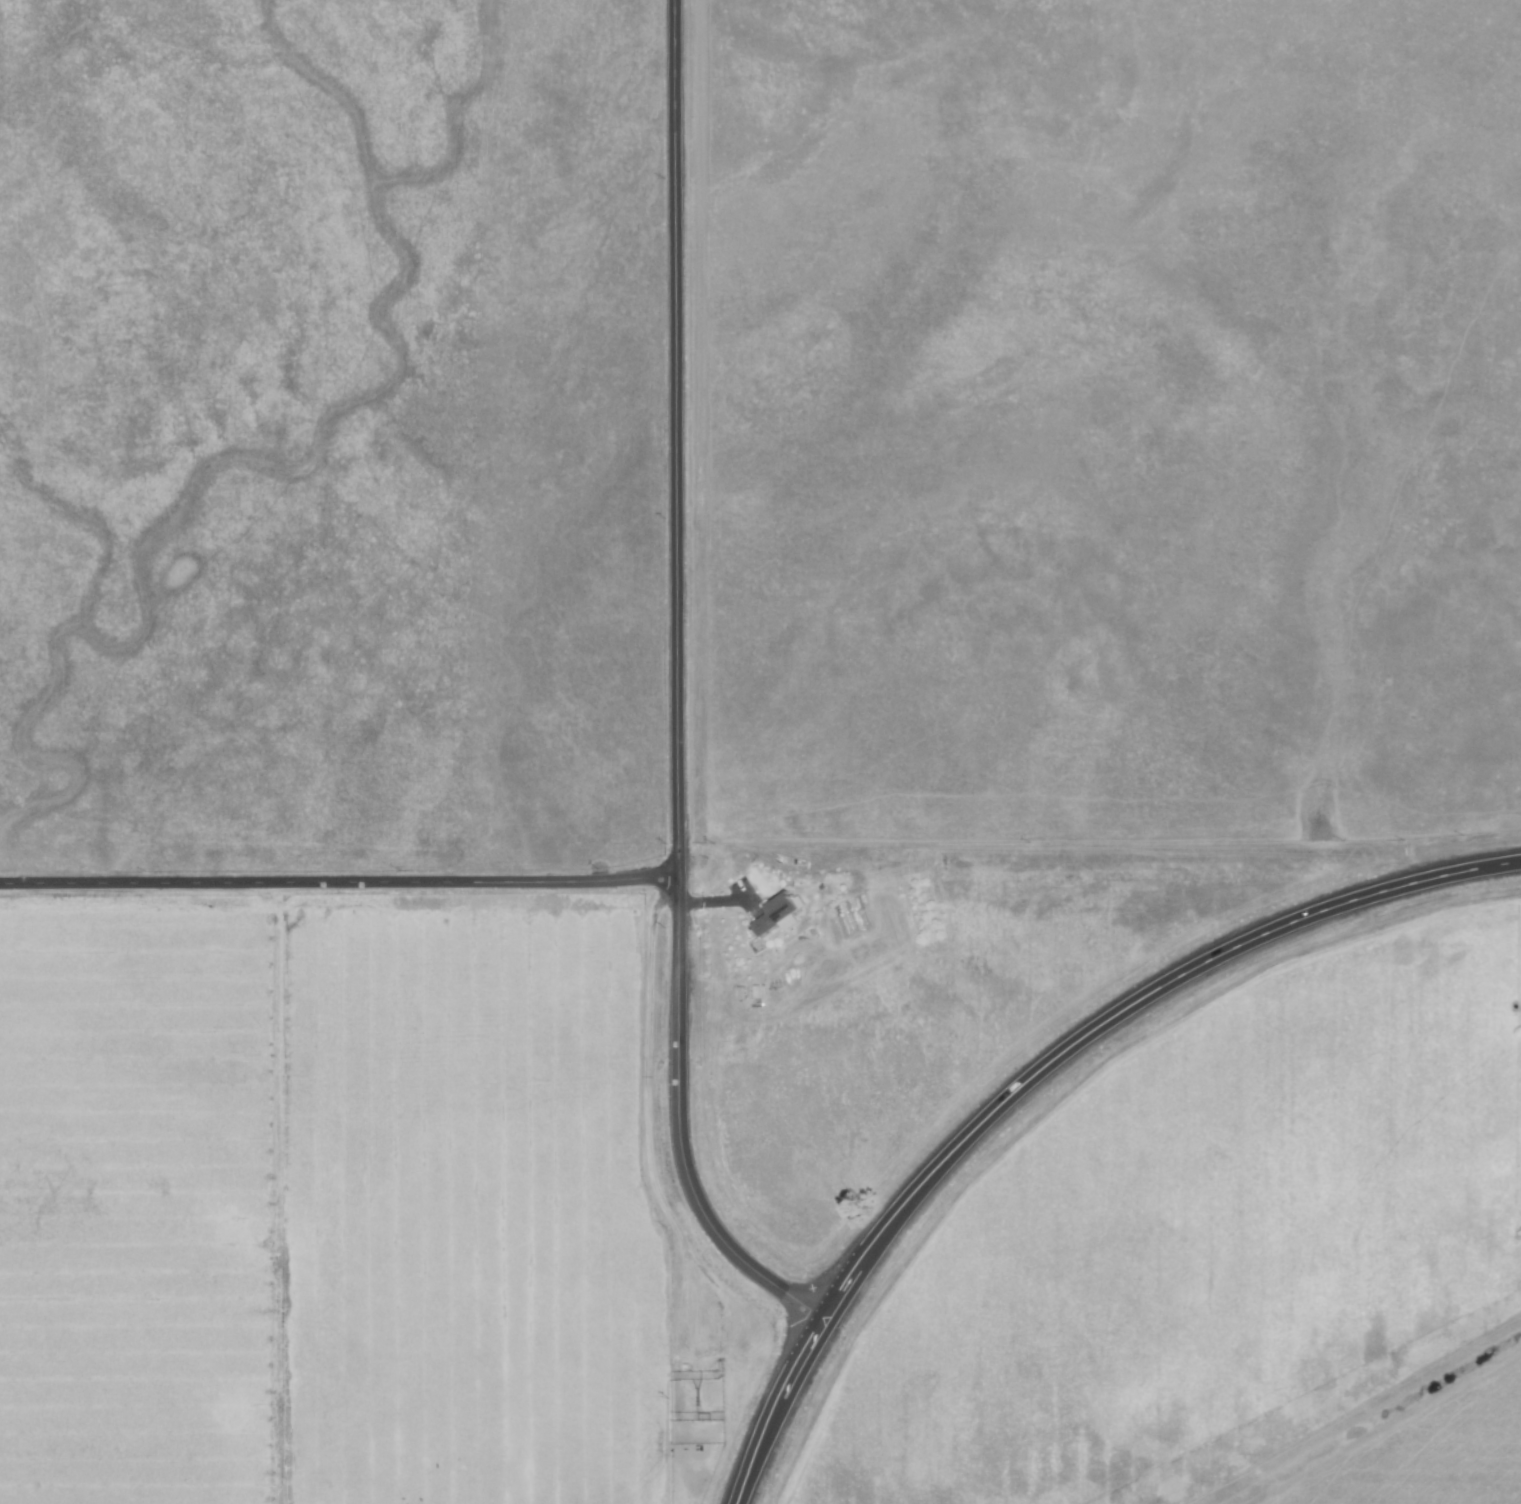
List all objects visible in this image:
road: (678, 694)
road: (337, 882)
building: (773, 914)
road: (1048, 1080)

